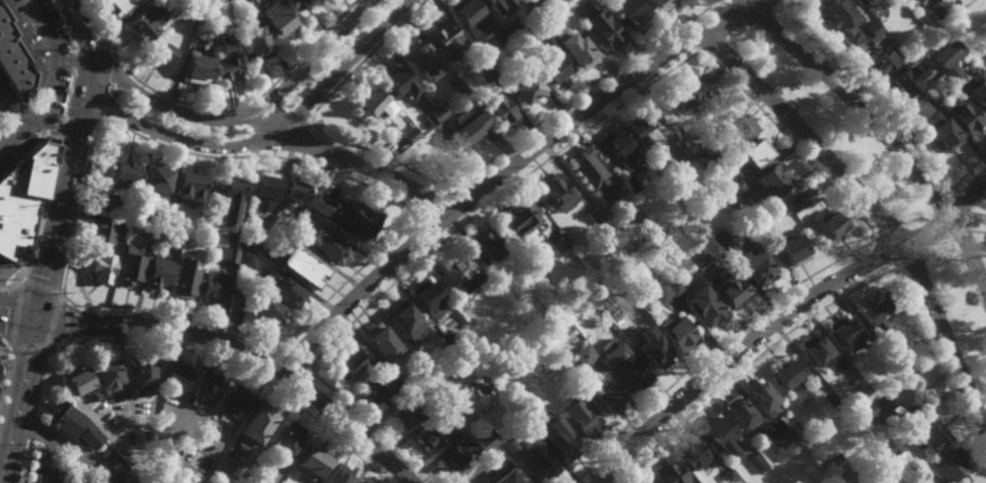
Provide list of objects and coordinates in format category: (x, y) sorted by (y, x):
building: (174, 1)
road: (712, 1)
building: (868, 1)
building: (292, 4)
building: (497, 4)
building: (546, 4)
building: (664, 4)
road: (721, 4)
road: (746, 4)
road: (752, 4)
building: (940, 4)
building: (956, 5)
building: (117, 6)
road: (795, 6)
building: (206, 7)
road: (749, 8)
building: (468, 13)
road: (782, 13)
building: (634, 14)
road: (91, 18)
building: (276, 19)
building: (842, 19)
road: (761, 20)
building: (148, 21)
road: (64, 24)
road: (119, 25)
road: (686, 27)
building: (513, 29)
building: (605, 29)
building: (536, 32)
road: (739, 33)
building: (445, 39)
road: (697, 39)
building: (504, 40)
building: (880, 40)
road: (102, 41)
building: (255, 41)
road: (87, 43)
road: (714, 44)
building: (163, 49)
building: (577, 50)
building: (511, 52)
road: (705, 52)
building: (948, 53)
building: (16, 55)
road: (116, 57)
road: (70, 59)
building: (226, 59)
building: (421, 59)
building: (478, 59)
road: (75, 60)
road: (366, 60)
building: (885, 60)
building: (493, 64)
building: (196, 69)
building: (554, 72)
building: (953, 72)
building: (486, 73)
road: (123, 79)
building: (906, 79)
parking lot: (55, 81)
building: (397, 81)
road: (47, 83)
building: (978, 86)
building: (525, 88)
road: (5, 91)
building: (461, 91)
building: (691, 91)
road: (110, 92)
road: (114, 92)
road: (580, 92)
building: (931, 93)
road: (68, 95)
road: (257, 101)
road: (877, 102)
building: (372, 104)
road: (290, 107)
road: (106, 108)
building: (501, 110)
road: (84, 115)
building: (435, 115)
building: (966, 115)
road: (245, 118)
building: (938, 127)
road: (56, 128)
road: (61, 128)
building: (468, 128)
building: (641, 129)
building: (739, 129)
road: (248, 134)
building: (410, 135)
building: (685, 135)
road: (271, 137)
road: (886, 139)
road: (297, 142)
building: (617, 144)
road: (791, 145)
building: (756, 152)
building: (709, 154)
building: (680, 155)
road: (381, 156)
road: (264, 159)
road: (355, 162)
road: (71, 163)
road: (511, 173)
building: (124, 174)
building: (593, 174)
road: (966, 176)
building: (156, 177)
building: (735, 182)
building: (772, 183)
building: (632, 184)
building: (190, 186)
building: (265, 189)
road: (451, 192)
building: (558, 192)
building: (293, 194)
road: (968, 198)
building: (23, 199)
road: (495, 200)
building: (736, 200)
building: (318, 201)
building: (799, 201)
road: (938, 202)
building: (110, 204)
building: (227, 204)
road: (457, 205)
road: (982, 205)
road: (80, 206)
road: (434, 206)
road: (42, 210)
road: (876, 214)
building: (595, 215)
road: (466, 217)
road: (916, 218)
building: (139, 220)
building: (359, 220)
building: (122, 222)
building: (171, 223)
building: (521, 223)
building: (768, 225)
road: (979, 225)
building: (829, 226)
road: (425, 227)
building: (285, 228)
building: (102, 231)
road: (888, 234)
road: (962, 234)
building: (720, 238)
building: (233, 240)
road: (435, 242)
building: (559, 243)
building: (486, 244)
building: (251, 245)
building: (328, 247)
road: (871, 247)
road: (938, 248)
building: (791, 249)
building: (268, 254)
building: (229, 255)
road: (878, 258)
building: (246, 259)
road: (912, 261)
building: (702, 263)
building: (130, 267)
building: (101, 268)
building: (302, 268)
road: (887, 269)
building: (757, 270)
building: (158, 272)
building: (458, 274)
building: (184, 282)
road: (345, 284)
road: (11, 287)
building: (674, 287)
road: (41, 288)
building: (214, 288)
building: (241, 290)
building: (281, 291)
building: (732, 292)
building: (661, 293)
building: (428, 299)
building: (704, 305)
building: (878, 311)
building: (267, 312)
road: (174, 313)
road: (16, 314)
road: (781, 315)
building: (471, 317)
building: (404, 319)
road: (54, 320)
road: (17, 324)
building: (622, 325)
traffic signals: (36, 328)
building: (843, 334)
building: (677, 335)
building: (451, 343)
building: (382, 344)
road: (29, 346)
road: (715, 347)
building: (652, 351)
building: (815, 351)
road: (6, 352)
road: (244, 353)
building: (583, 355)
road: (294, 359)
road: (751, 361)
building: (428, 363)
road: (309, 365)
road: (234, 367)
building: (349, 367)
road: (941, 367)
building: (373, 369)
building: (624, 369)
building: (106, 375)
building: (441, 376)
building: (141, 377)
building: (174, 377)
building: (787, 380)
road: (41, 381)
building: (76, 382)
road: (2, 384)
building: (400, 385)
building: (204, 389)
building: (377, 390)
building: (515, 394)
building: (605, 397)
building: (760, 398)
building: (826, 399)
building: (236, 401)
road: (19, 405)
building: (901, 407)
building: (869, 413)
building: (409, 414)
building: (739, 414)
building: (581, 419)
road: (373, 425)
road: (32, 427)
building: (69, 427)
building: (255, 428)
building: (717, 432)
building: (437, 433)
building: (227, 438)
building: (916, 439)
building: (164, 440)
building: (287, 441)
building: (487, 442)
building: (563, 442)
building: (510, 445)
building: (781, 445)
road: (65, 450)
building: (694, 455)
building: (455, 456)
building: (833, 460)
road: (25, 461)
building: (540, 461)
road: (50, 462)
building: (497, 463)
building: (948, 464)
building: (311, 465)
building: (756, 465)
building: (224, 468)
building: (668, 473)
building: (340, 475)
building: (507, 478)
building: (727, 478)
building: (646, 482)
building: (938, 482)

